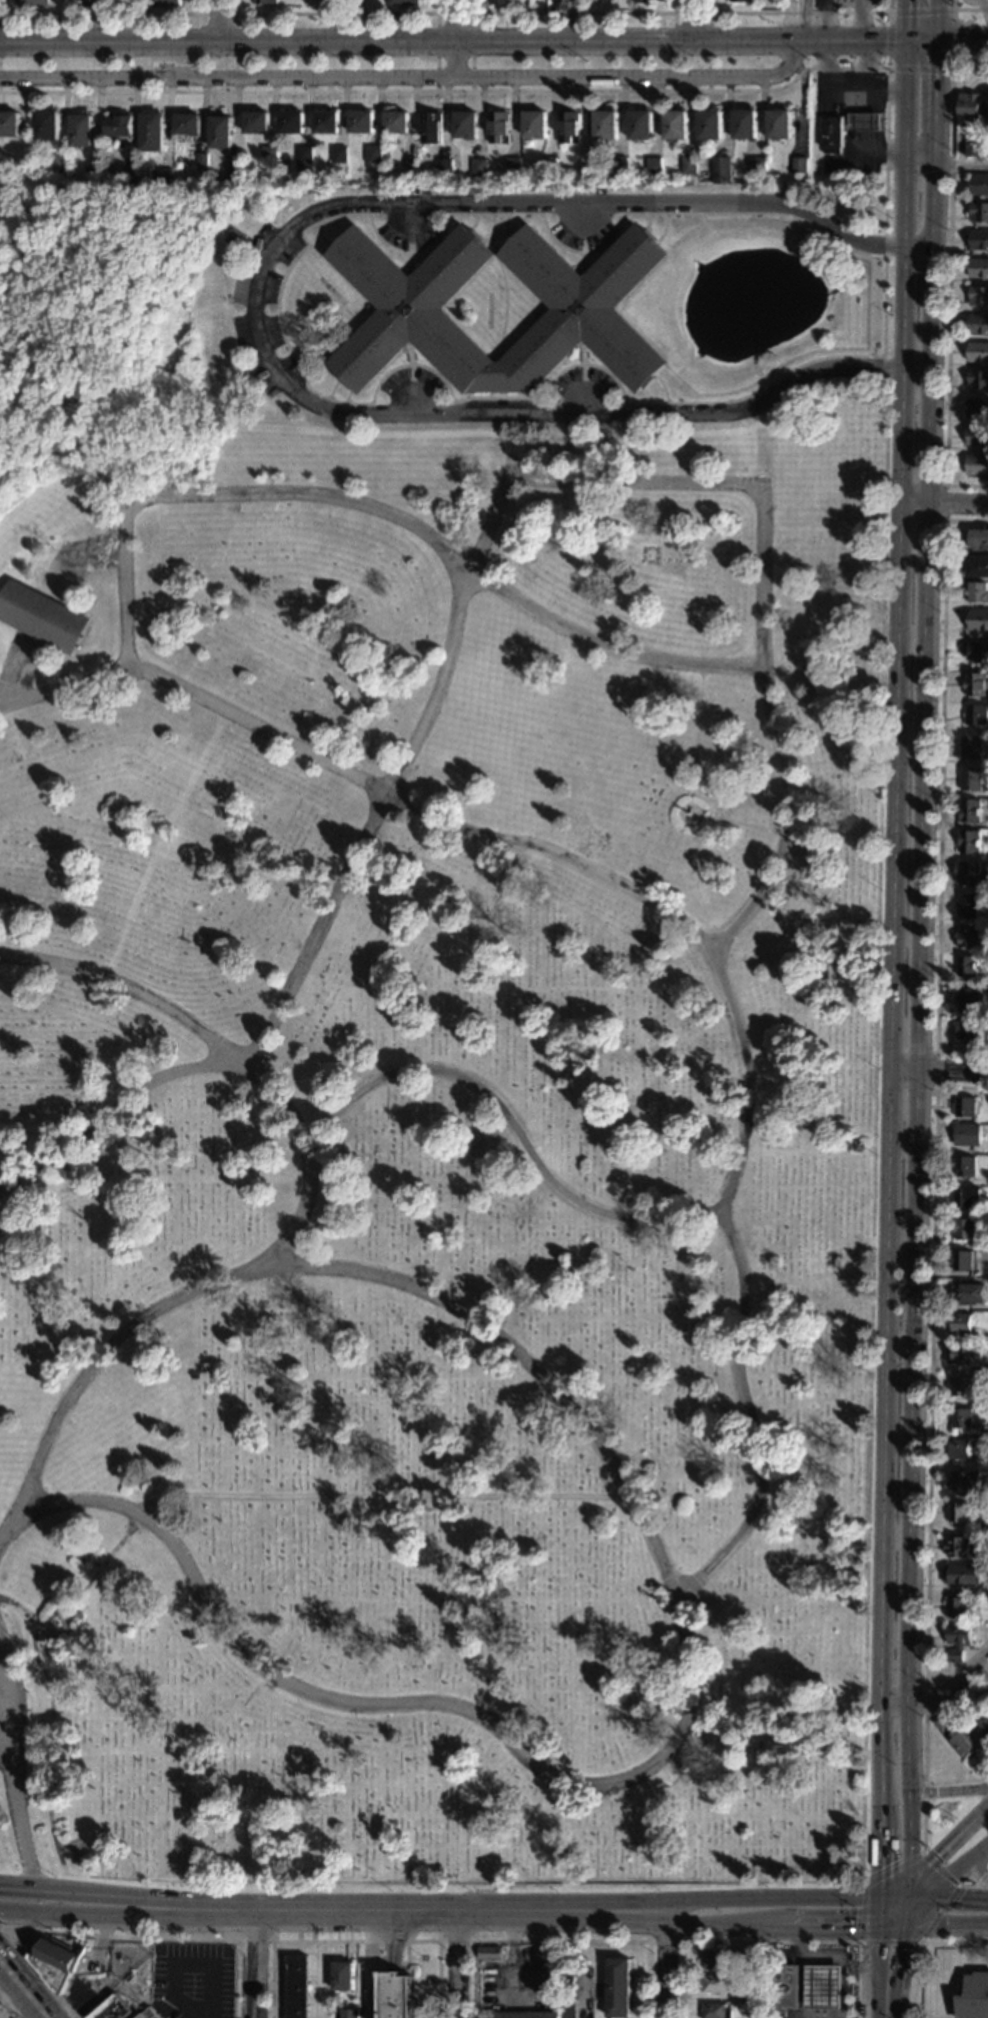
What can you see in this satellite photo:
building: (79, 0)
building: (641, 1)
building: (739, 1)
building: (34, 2)
building: (266, 2)
building: (402, 2)
building: (502, 2)
building: (165, 3)
traffic signals: (904, 8)
road: (965, 9)
road: (799, 12)
road: (335, 13)
road: (453, 13)
road: (571, 13)
road: (691, 13)
road: (106, 14)
road: (216, 14)
road: (693, 20)
road: (99, 21)
road: (220, 21)
road: (334, 21)
road: (570, 21)
road: (802, 21)
road: (903, 21)
road: (929, 21)
road: (457, 39)
road: (849, 42)
traffic signals: (882, 42)
road: (916, 42)
road: (397, 44)
traffic signals: (956, 44)
road: (958, 44)
building: (730, 62)
building: (846, 64)
road: (952, 68)
building: (957, 68)
traffic signals: (929, 75)
road: (407, 79)
road: (592, 90)
road: (929, 90)
building: (969, 105)
building: (987, 116)
building: (254, 122)
building: (290, 122)
building: (324, 122)
building: (359, 122)
building: (394, 122)
building: (864, 122)
building: (186, 124)
building: (534, 124)
building: (8, 125)
building: (464, 125)
building: (709, 125)
building: (743, 125)
building: (778, 125)
building: (46, 126)
building: (118, 126)
building: (603, 126)
building: (639, 126)
building: (674, 126)
building: (497, 127)
building: (429, 128)
building: (567, 128)
building: (80, 131)
building: (150, 132)
building: (219, 132)
building: (831, 134)
building: (972, 149)
building: (987, 149)
building: (337, 154)
building: (267, 155)
building: (372, 156)
building: (302, 159)
building: (201, 161)
road: (958, 164)
building: (511, 165)
building: (59, 166)
building: (547, 166)
building: (652, 166)
building: (687, 166)
building: (799, 166)
building: (442, 167)
building: (477, 167)
building: (583, 167)
building: (233, 168)
building: (617, 168)
building: (754, 169)
building: (720, 171)
building: (93, 176)
building: (129, 177)
building: (163, 177)
building: (979, 186)
road: (671, 213)
building: (979, 213)
building: (234, 239)
building: (978, 241)
building: (978, 268)
road: (947, 282)
road: (504, 286)
building: (978, 296)
building: (886, 307)
road: (258, 308)
building: (978, 324)
building: (410, 325)
building: (977, 352)
building: (978, 380)
road: (301, 384)
road: (756, 392)
building: (977, 409)
building: (977, 437)
building: (976, 465)
road: (552, 486)
road: (943, 500)
road: (944, 503)
road: (378, 511)
building: (978, 539)
building: (977, 566)
building: (976, 592)
building: (41, 616)
building: (977, 620)
building: (978, 651)
building: (975, 684)
building: (975, 715)
building: (970, 747)
building: (970, 779)
road: (939, 792)
building: (969, 811)
building: (969, 841)
building: (969, 873)
building: (968, 905)
road: (892, 934)
building: (966, 936)
building: (967, 966)
road: (128, 992)
building: (968, 1000)
road: (734, 1005)
road: (920, 1008)
building: (967, 1030)
road: (935, 1070)
road: (938, 1070)
road: (157, 1081)
building: (964, 1107)
park: (428, 1123)
building: (967, 1135)
building: (857, 1147)
building: (964, 1166)
building: (965, 1197)
building: (963, 1229)
building: (961, 1261)
building: (968, 1293)
building: (961, 1323)
building: (964, 1355)
building: (959, 1387)
road: (744, 1412)
building: (960, 1418)
road: (929, 1442)
building: (958, 1449)
building: (963, 1481)
road: (373, 1497)
building: (957, 1512)
road: (6, 1525)
building: (955, 1547)
building: (962, 1574)
road: (671, 1598)
building: (956, 1607)
building: (956, 1641)
building: (982, 1676)
road: (950, 1682)
building: (961, 1694)
building: (980, 1723)
building: (954, 1737)
road: (3, 1747)
road: (12, 1787)
road: (950, 1790)
road: (923, 1792)
road: (922, 1828)
road: (949, 1841)
road: (880, 1867)
road: (987, 1873)
road: (950, 1878)
traffic signals: (911, 1879)
building: (968, 1883)
road: (978, 1885)
road: (967, 1887)
road: (24, 1890)
road: (895, 1894)
road: (911, 1894)
road: (153, 1900)
traffic signals: (879, 1909)
road: (887, 1909)
road: (904, 1909)
traffic signals: (912, 1909)
road: (949, 1910)
road: (128, 1911)
road: (567, 1913)
road: (18, 1929)
road: (473, 1932)
road: (16, 1933)
road: (23, 1933)
road: (121, 1937)
road: (904, 1939)
road: (879, 1940)
road: (254, 1941)
road: (354, 1941)
road: (560, 1941)
road: (664, 1941)
road: (771, 1942)
road: (886, 1942)
road: (12, 1943)
road: (919, 1946)
building: (489, 1954)
flagpole: (422, 1956)
building: (56, 1960)
building: (714, 1960)
building: (761, 1960)
road: (255, 1963)
road: (367, 1965)
road: (665, 1965)
road: (458, 1966)
road: (955, 1969)
building: (342, 1977)
parking lot: (191, 1980)
road: (895, 1981)
road: (24, 1983)
building: (716, 1985)
building: (295, 1987)
building: (784, 1987)
building: (823, 1987)
road: (203, 1988)
building: (618, 1988)
road: (881, 1994)
road: (22, 1995)
building: (759, 1995)
building: (395, 1996)
building: (973, 1996)
road: (891, 2004)
road: (9, 2006)
building: (111, 2009)
building: (567, 2009)
building: (715, 2011)
building: (861, 2011)
building: (761, 2013)
building: (149, 2014)
building: (348, 2014)
building: (526, 2015)

